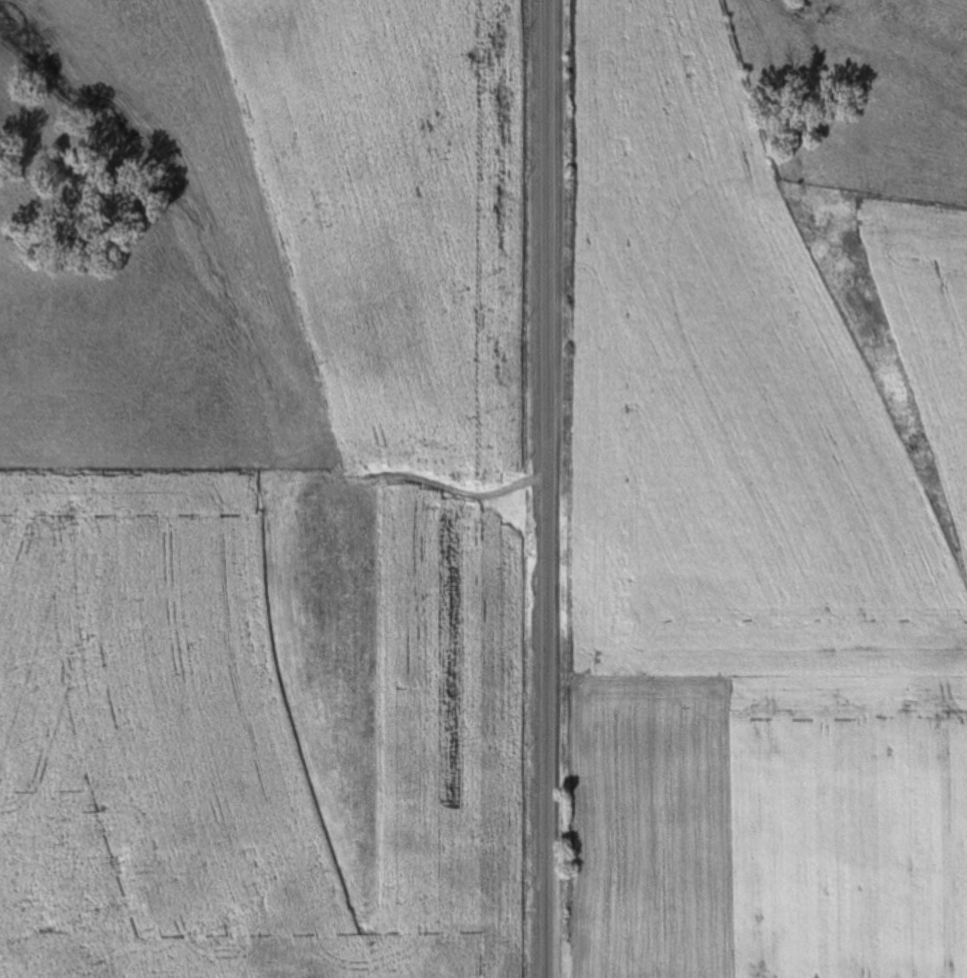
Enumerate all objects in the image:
road: (547, 489)

